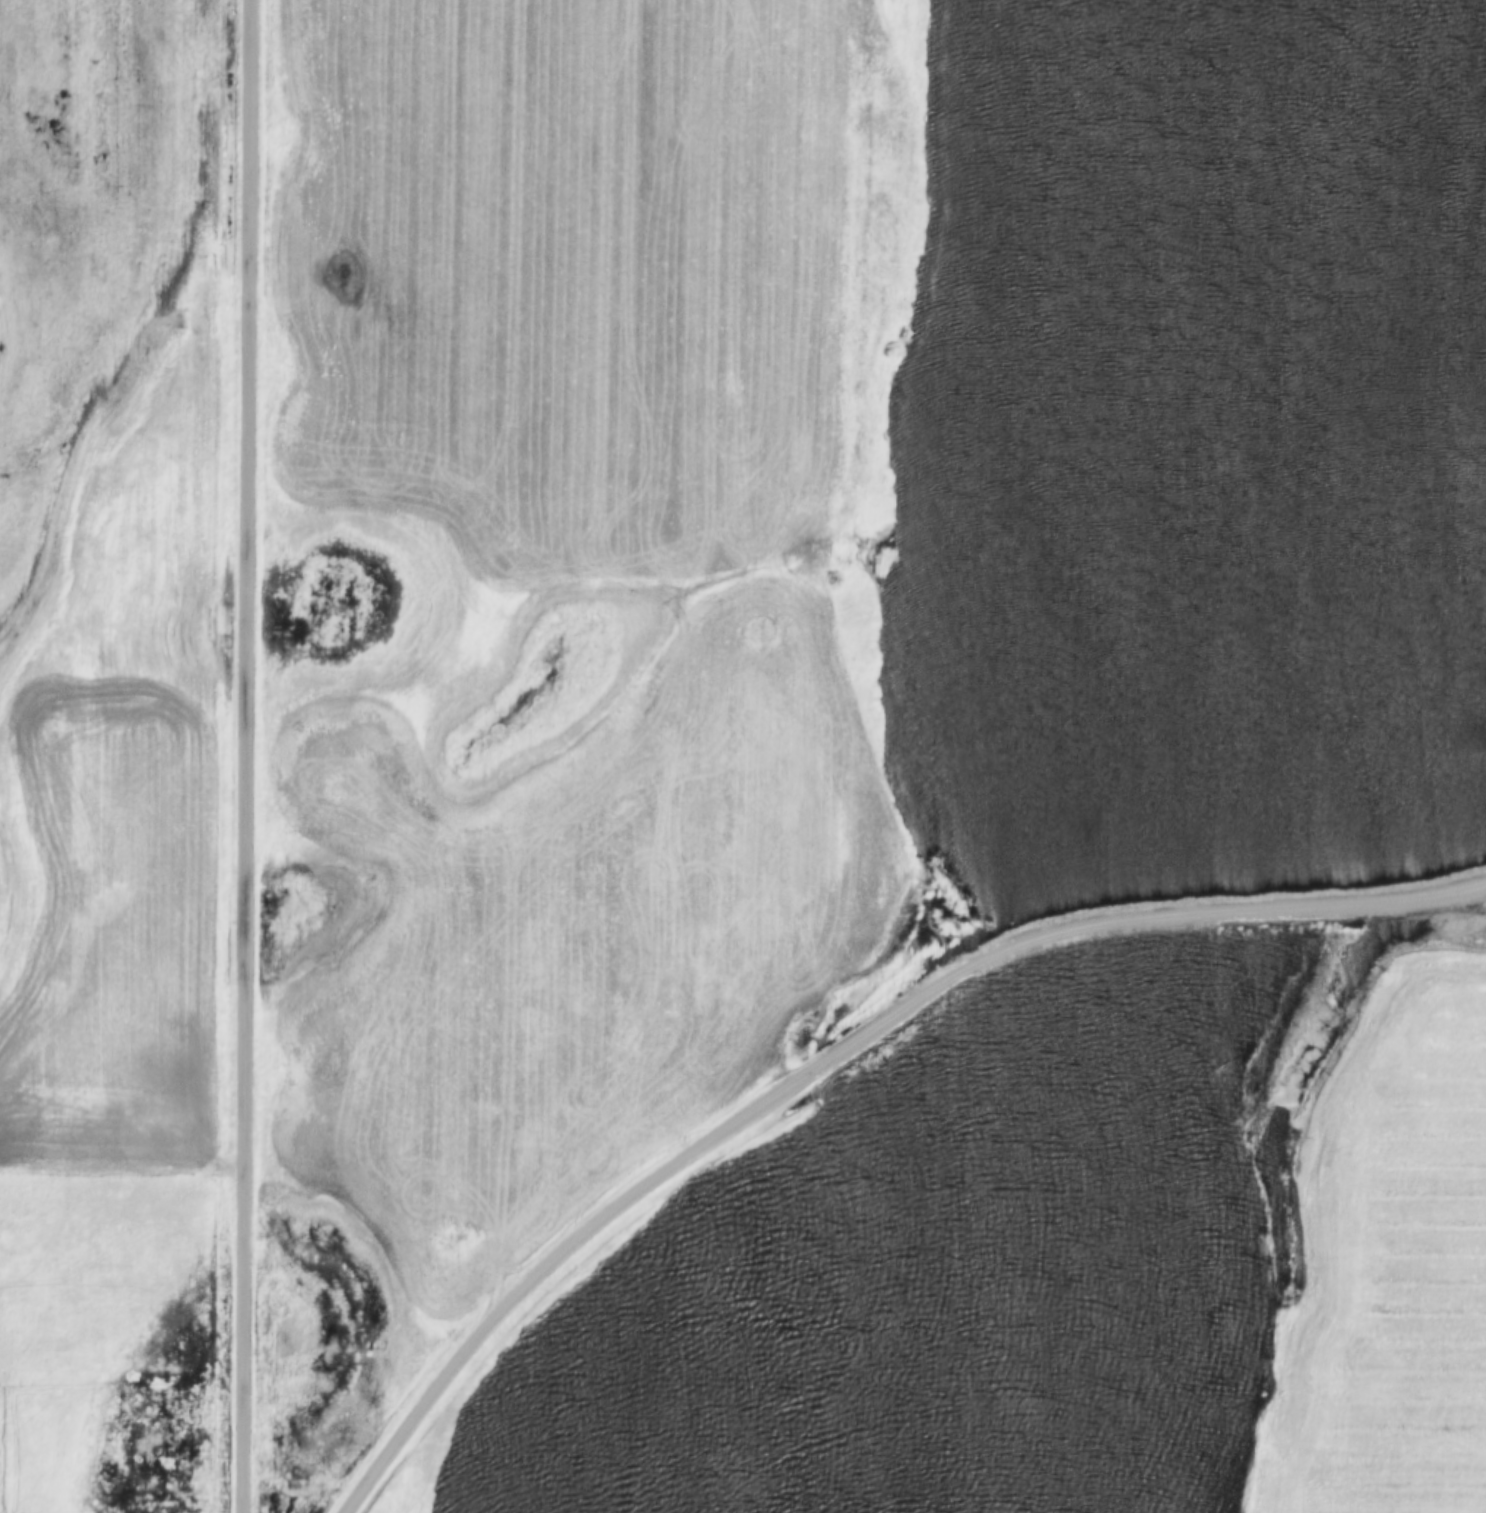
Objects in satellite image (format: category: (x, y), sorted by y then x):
road: (242, 756)
building: (1173, 989)
building: (1157, 1027)
road: (839, 1052)
building: (1207, 1093)

